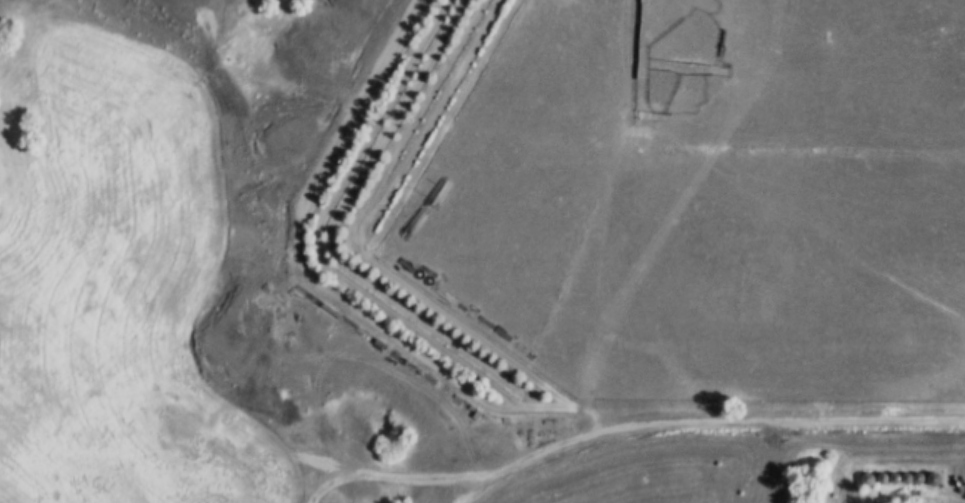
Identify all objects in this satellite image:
building: (0, 297)
road: (614, 432)

